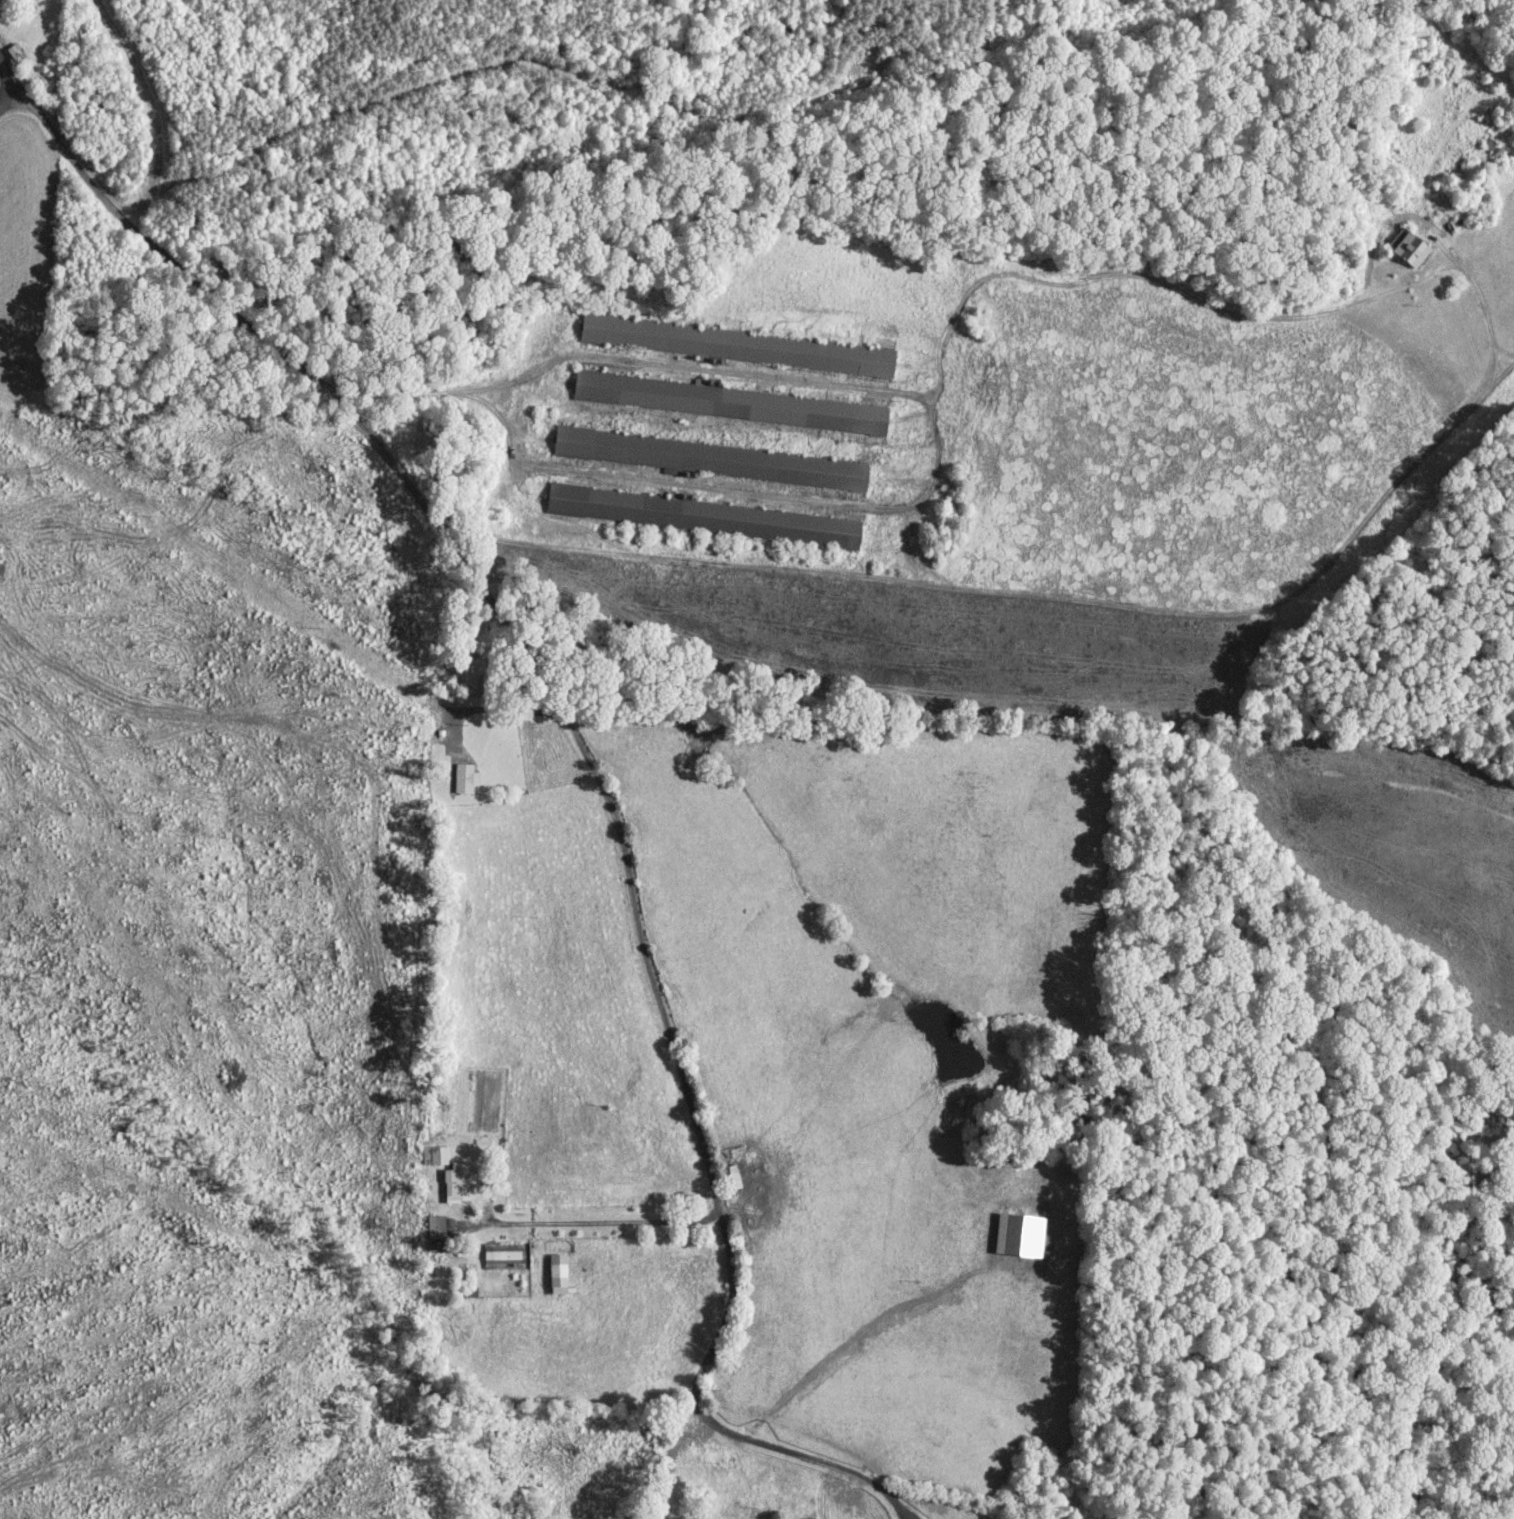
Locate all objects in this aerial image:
road: (151, 103)
building: (1416, 244)
building: (710, 515)
road: (496, 708)
road: (581, 744)
building: (468, 777)
building: (437, 1154)
building: (462, 1182)
road: (584, 1221)
building: (438, 1226)
building: (505, 1253)
building: (562, 1273)
road: (906, 1507)

